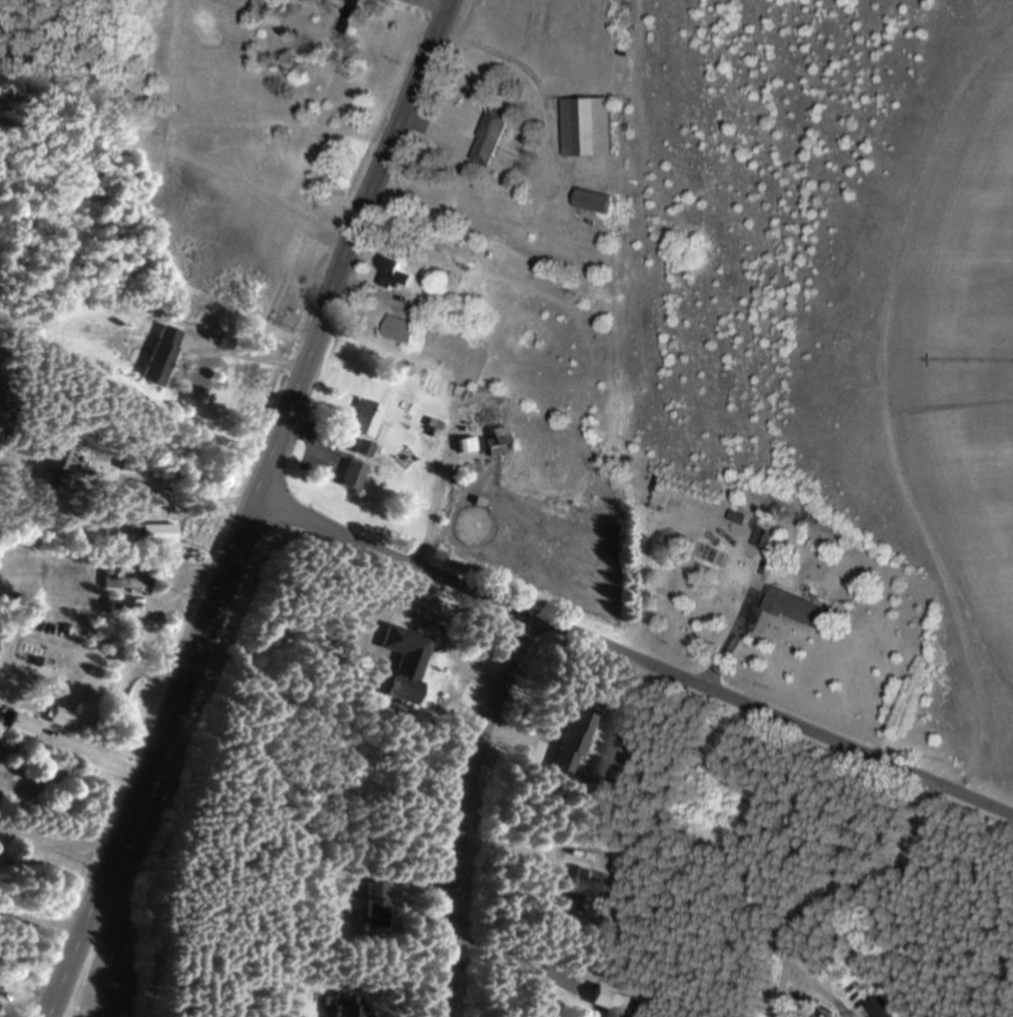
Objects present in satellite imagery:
building: (587, 128)
building: (489, 136)
building: (592, 202)
building: (393, 276)
building: (399, 331)
road: (239, 354)
building: (156, 356)
building: (361, 419)
building: (492, 444)
building: (359, 448)
building: (56, 469)
building: (349, 475)
road: (165, 487)
road: (246, 507)
building: (153, 533)
building: (759, 537)
building: (118, 579)
building: (114, 603)
building: (795, 608)
road: (726, 641)
building: (401, 661)
road: (630, 662)
building: (65, 717)
building: (18, 722)
road: (458, 811)
road: (55, 841)
road: (506, 852)
road: (865, 880)
building: (583, 895)
building: (371, 904)
road: (511, 962)
road: (821, 988)
road: (775, 990)
building: (609, 1001)
building: (347, 1007)

